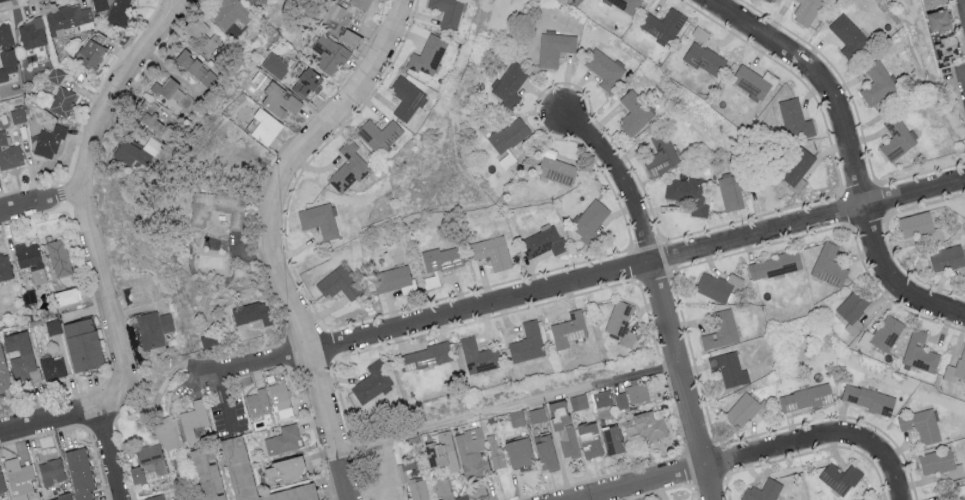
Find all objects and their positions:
building: (769, 0)
building: (252, 2)
building: (930, 2)
building: (361, 3)
building: (98, 4)
building: (627, 5)
road: (169, 11)
road: (178, 11)
building: (447, 11)
building: (806, 11)
building: (117, 12)
road: (962, 12)
building: (226, 13)
building: (331, 13)
building: (936, 20)
building: (664, 26)
building: (31, 33)
building: (700, 34)
building: (847, 35)
building: (202, 36)
building: (351, 39)
building: (944, 48)
building: (554, 50)
building: (90, 51)
building: (6, 52)
building: (330, 55)
building: (428, 56)
building: (705, 60)
building: (275, 67)
building: (196, 68)
building: (604, 70)
building: (55, 74)
building: (754, 82)
building: (876, 83)
building: (509, 85)
building: (308, 86)
building: (171, 94)
building: (406, 99)
building: (61, 101)
building: (280, 102)
building: (634, 114)
building: (151, 116)
building: (794, 121)
building: (263, 127)
building: (379, 136)
building: (896, 138)
building: (48, 141)
building: (508, 142)
building: (152, 147)
building: (8, 152)
building: (127, 153)
road: (849, 153)
building: (662, 157)
building: (348, 168)
building: (555, 169)
building: (797, 171)
building: (731, 193)
building: (688, 196)
road: (41, 197)
building: (216, 209)
road: (88, 211)
building: (593, 218)
building: (319, 222)
building: (920, 224)
road: (272, 234)
building: (542, 243)
building: (492, 252)
building: (57, 257)
building: (946, 258)
building: (30, 260)
building: (442, 260)
building: (773, 265)
building: (828, 265)
building: (4, 266)
road: (584, 279)
building: (394, 282)
building: (431, 283)
building: (338, 285)
building: (717, 285)
road: (659, 295)
building: (852, 309)
building: (251, 314)
building: (621, 322)
building: (568, 329)
building: (154, 330)
building: (720, 330)
building: (886, 332)
building: (527, 342)
building: (81, 343)
building: (919, 352)
building: (20, 355)
building: (424, 356)
building: (479, 356)
building: (52, 367)
building: (728, 368)
building: (956, 368)
building: (3, 373)
building: (371, 382)
building: (637, 392)
building: (806, 397)
building: (867, 398)
road: (224, 399)
building: (280, 400)
building: (620, 400)
building: (578, 401)
building: (258, 402)
road: (504, 407)
building: (742, 409)
building: (536, 414)
road: (50, 420)
building: (194, 420)
building: (920, 425)
building: (646, 427)
building: (167, 432)
building: (566, 435)
building: (589, 439)
building: (611, 439)
building: (282, 440)
road: (877, 448)
building: (441, 451)
building: (518, 451)
building: (544, 452)
road: (112, 453)
building: (471, 453)
building: (936, 461)
building: (147, 463)
building: (236, 468)
road: (705, 468)
building: (282, 470)
building: (51, 471)
building: (78, 473)
building: (207, 474)
building: (839, 477)
building: (18, 478)
building: (1, 484)
building: (417, 490)
building: (763, 491)
building: (302, 495)
building: (59, 497)
building: (154, 497)
building: (958, 498)
building: (174, 499)

